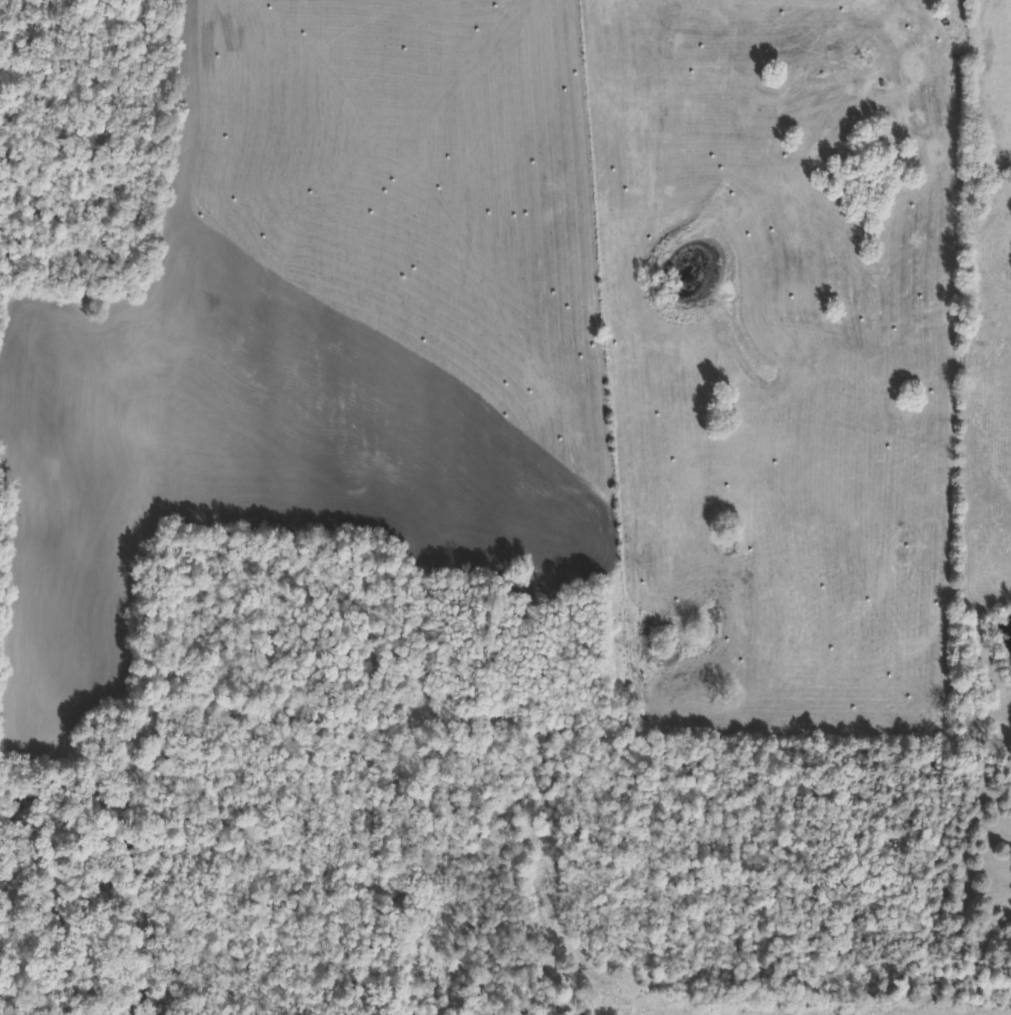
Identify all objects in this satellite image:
road: (976, 100)

